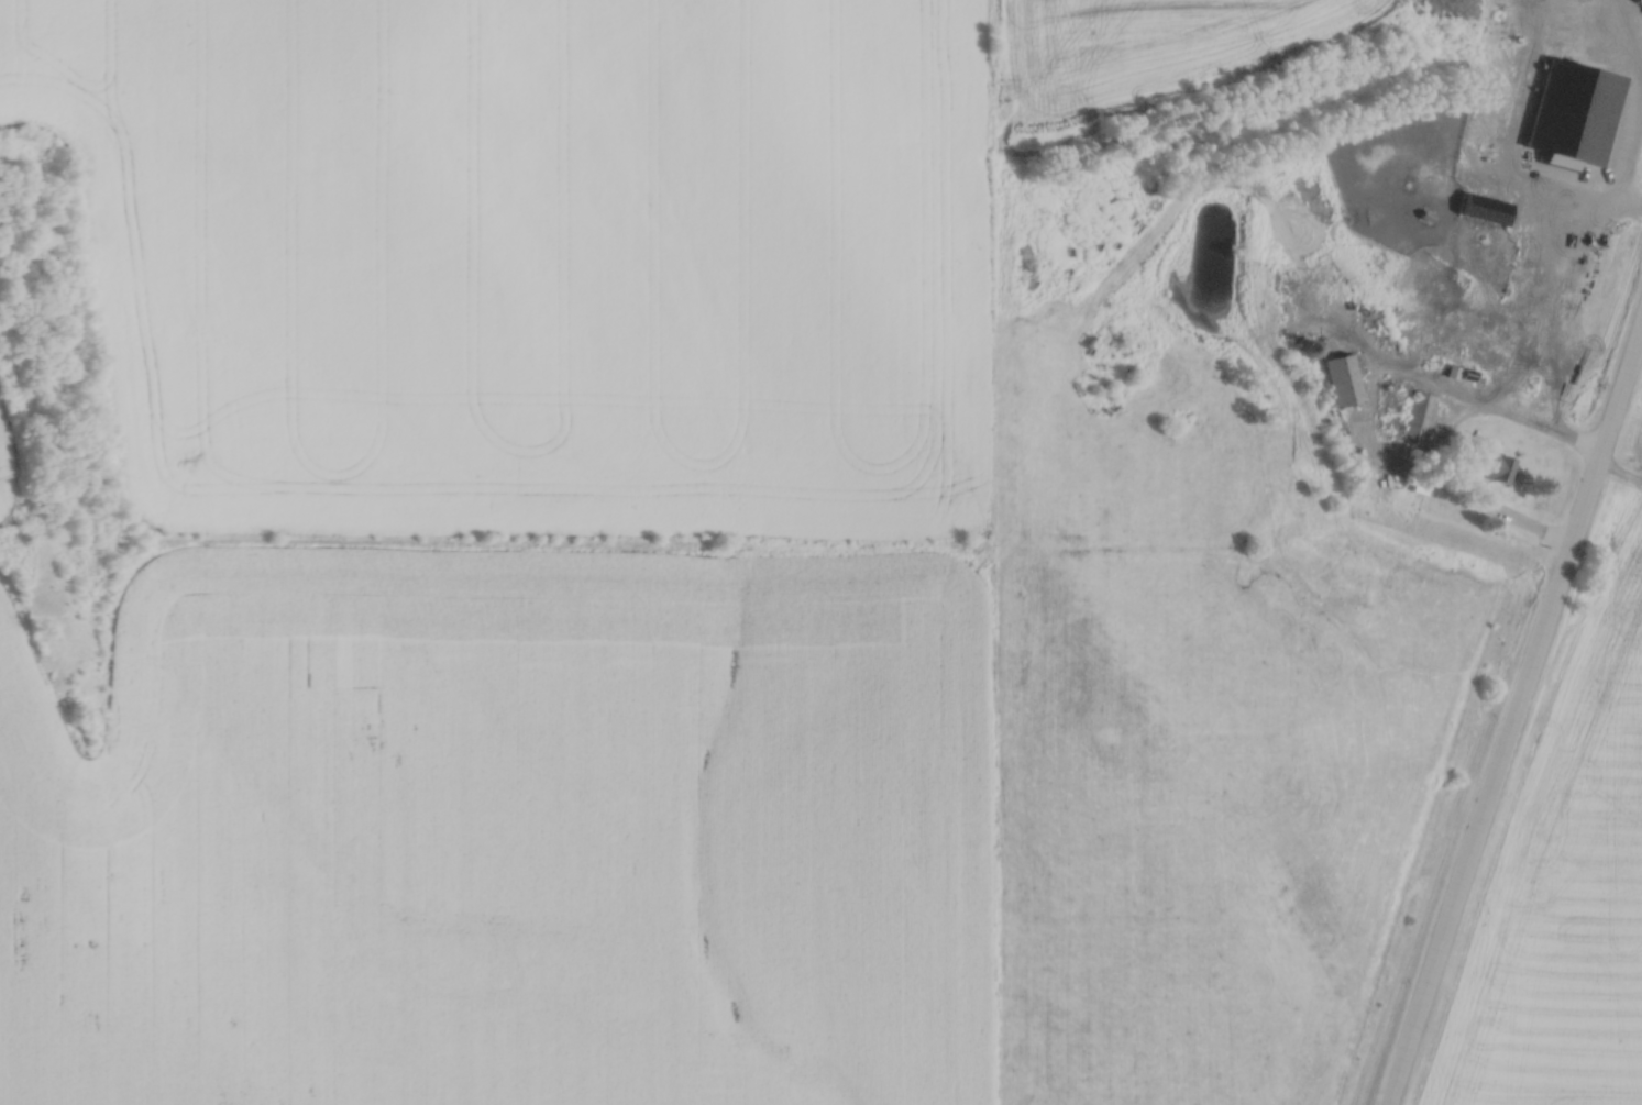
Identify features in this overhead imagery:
building: (1486, 187)
building: (1569, 202)
building: (1326, 275)
building: (1309, 344)
building: (1342, 375)
road: (1478, 404)
building: (1414, 411)
building: (1495, 463)
road: (1514, 716)

